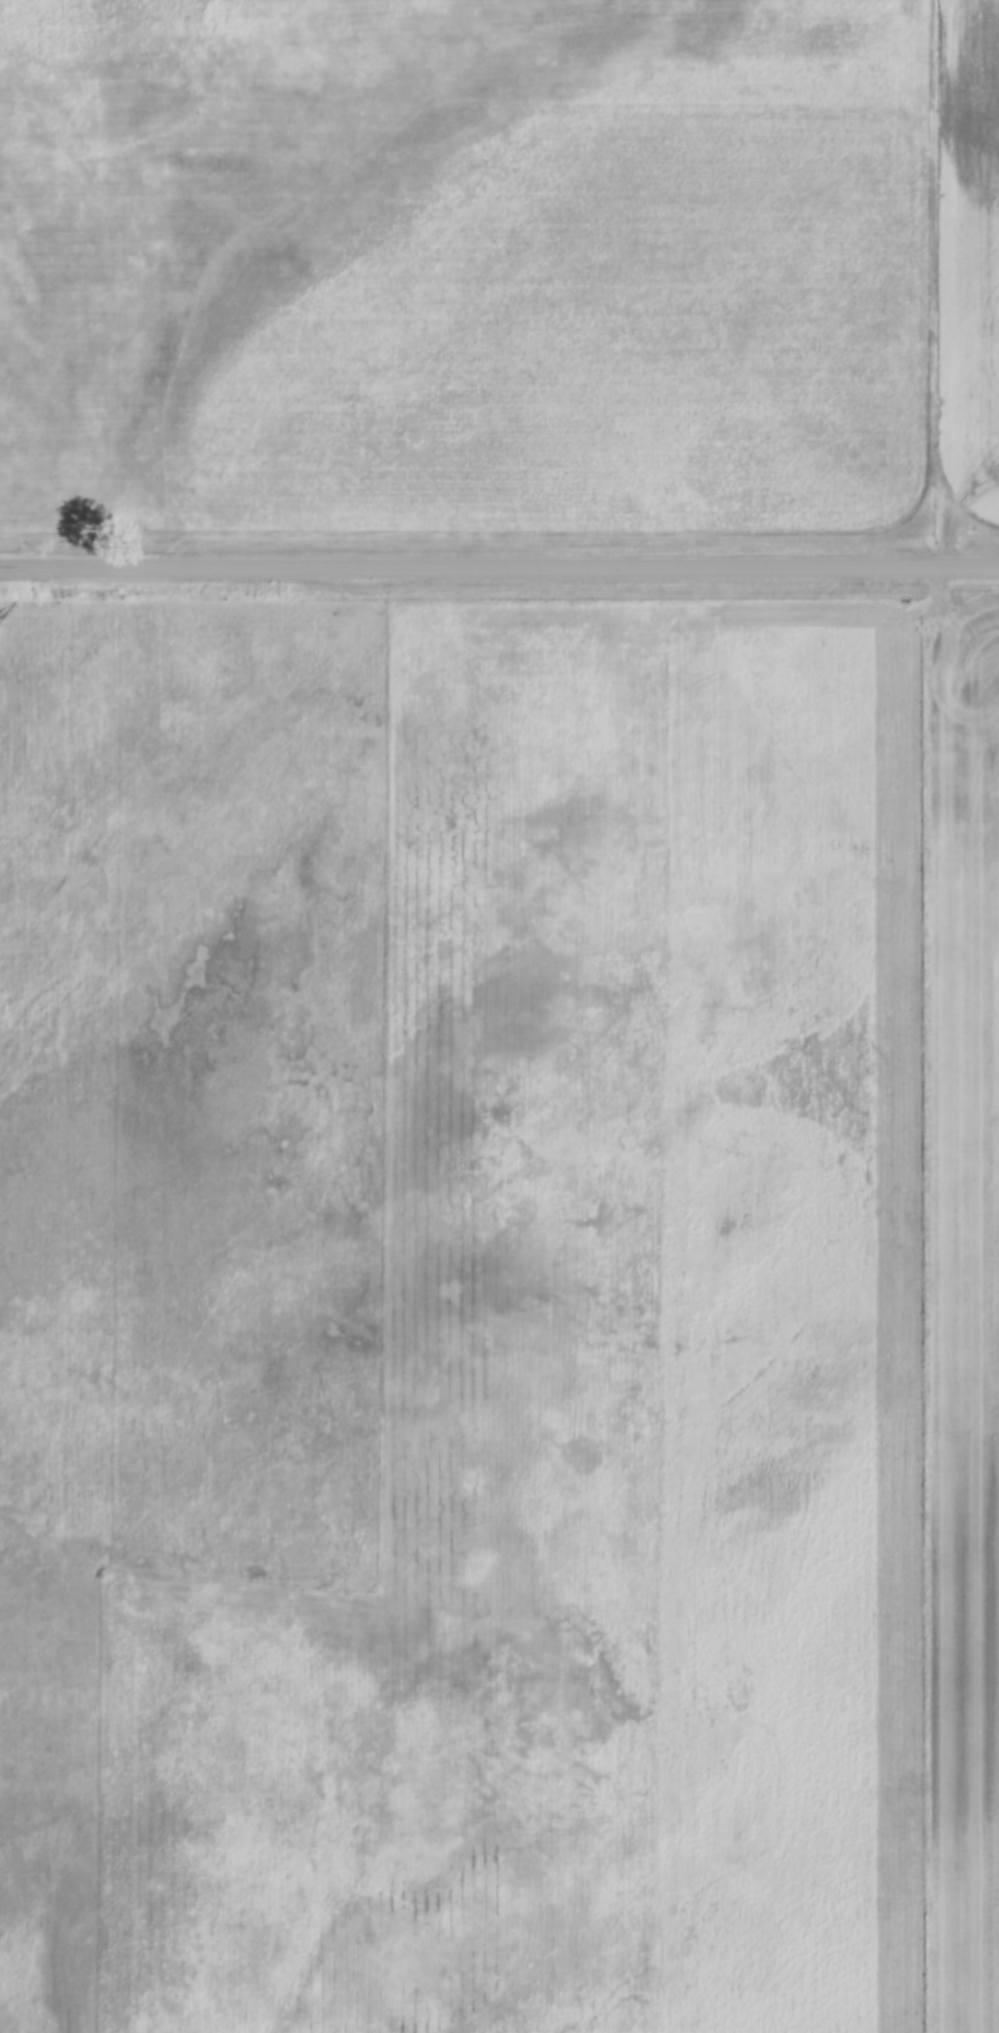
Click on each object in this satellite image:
road: (945, 283)
road: (499, 567)

